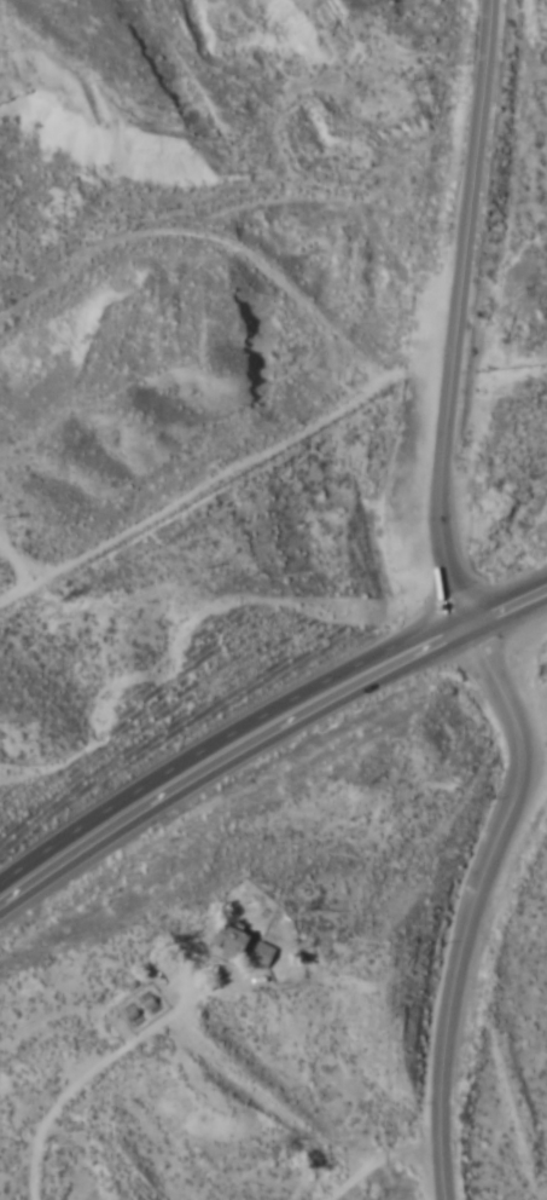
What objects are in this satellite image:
crop: (510, 192)
road: (460, 313)
road: (264, 732)
road: (476, 904)
building: (231, 941)
building: (262, 953)
crop: (216, 1073)
road: (292, 1121)
road: (336, 1183)

